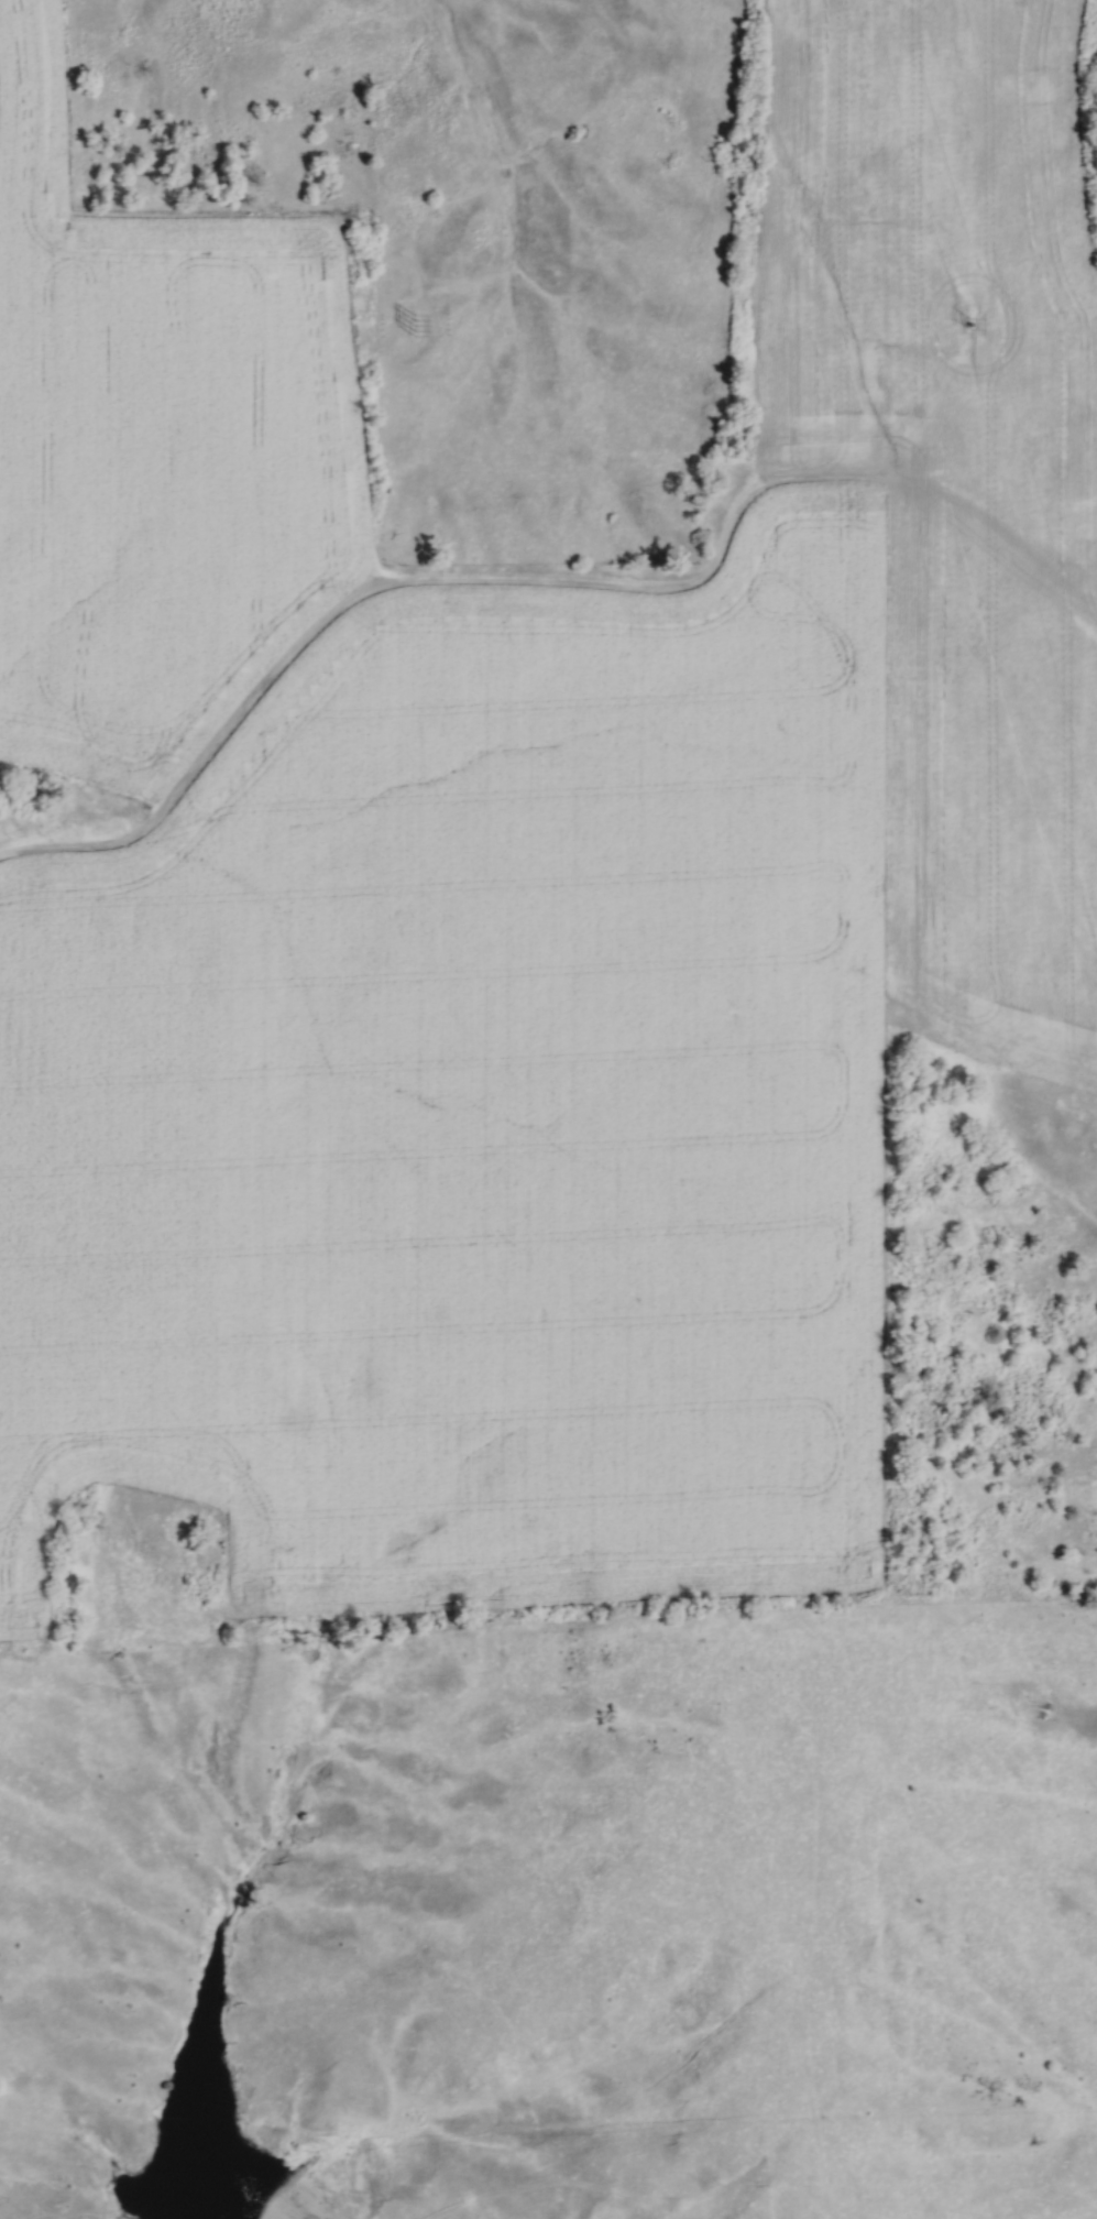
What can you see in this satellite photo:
power tower: (969, 326)
power tower: (413, 327)

